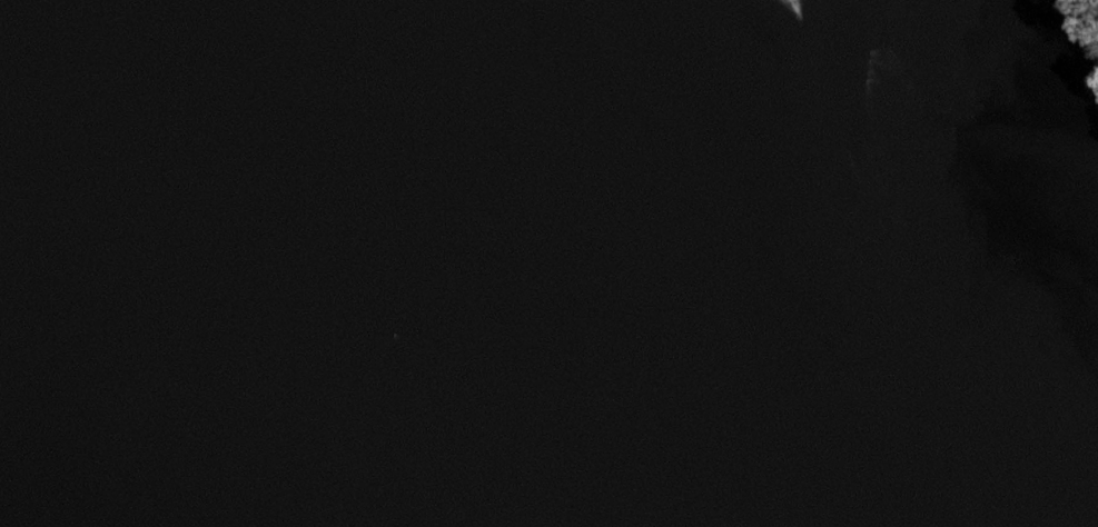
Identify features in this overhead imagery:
river: (343, 315)

